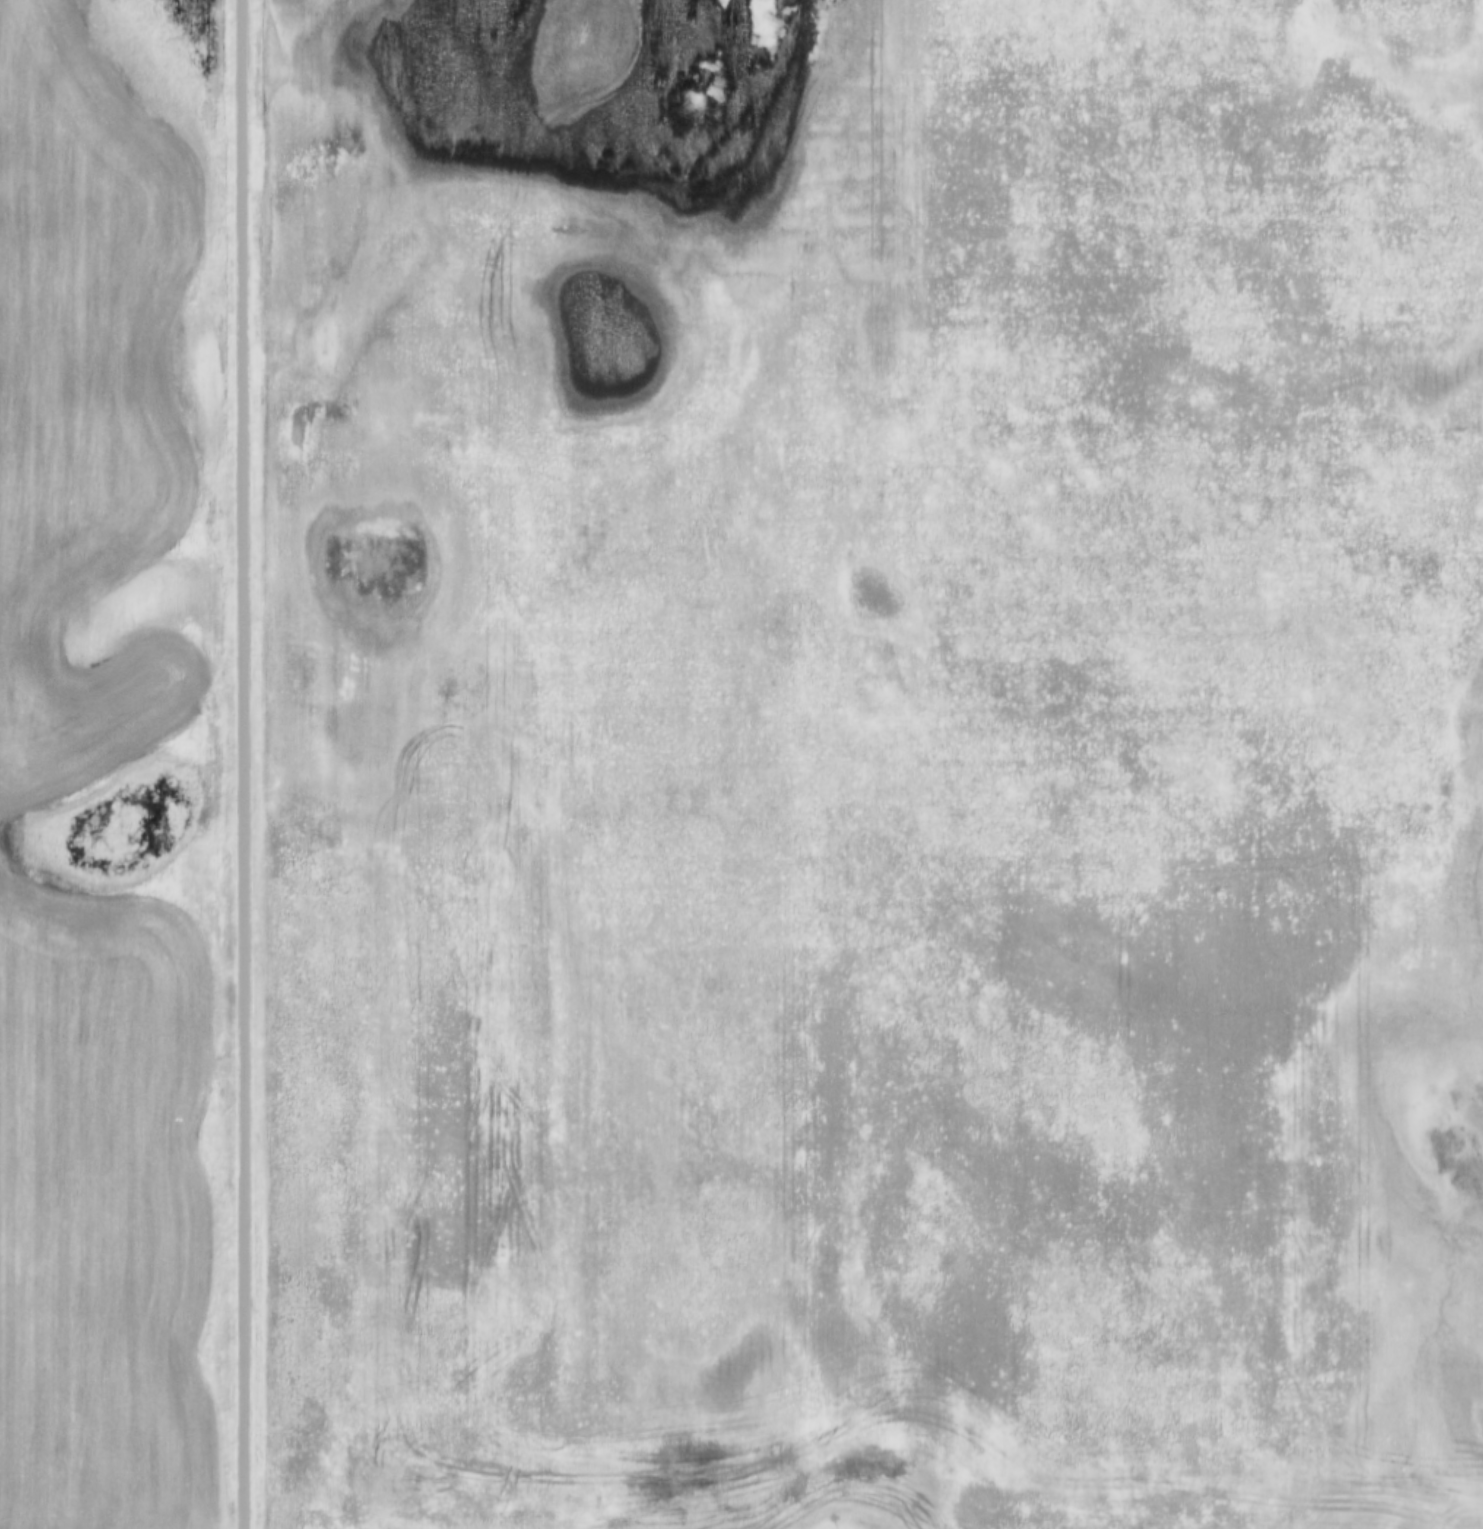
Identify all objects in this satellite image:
road: (248, 764)

